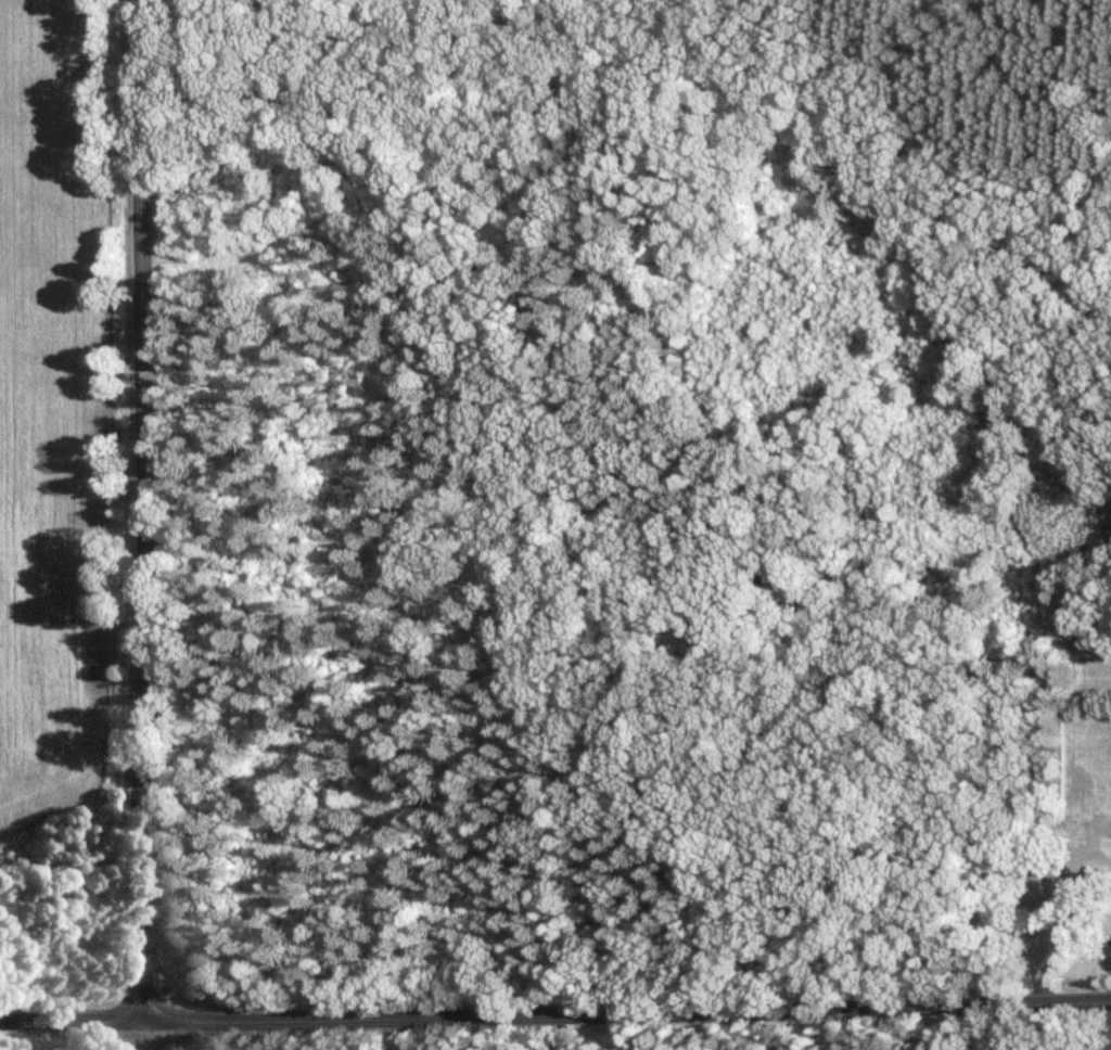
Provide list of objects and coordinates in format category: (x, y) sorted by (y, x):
road: (144, 525)
road: (555, 1016)

